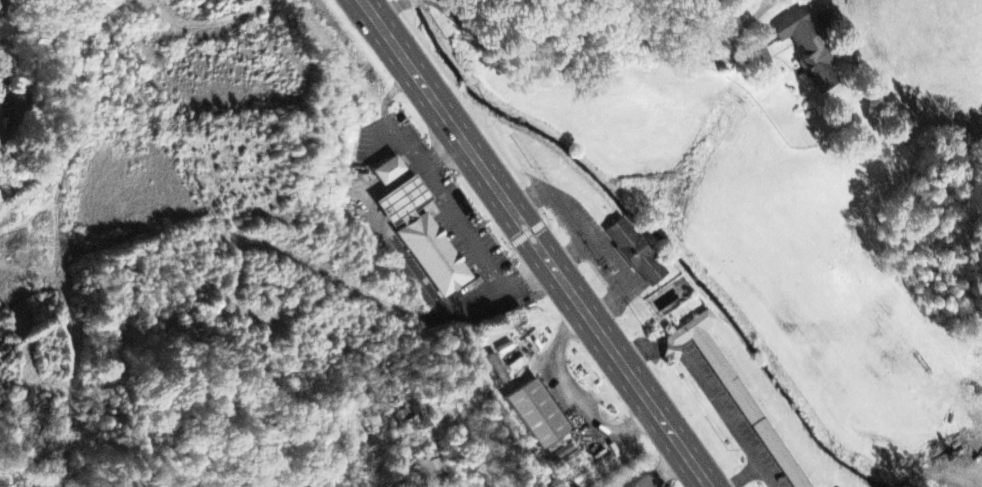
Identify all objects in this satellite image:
road: (413, 0)
road: (390, 7)
building: (825, 23)
building: (809, 50)
road: (594, 51)
building: (16, 108)
building: (388, 173)
road: (55, 218)
building: (423, 240)
road: (533, 244)
building: (635, 255)
building: (734, 390)
building: (539, 415)
building: (414, 418)
building: (432, 470)
road: (919, 479)
road: (905, 486)

